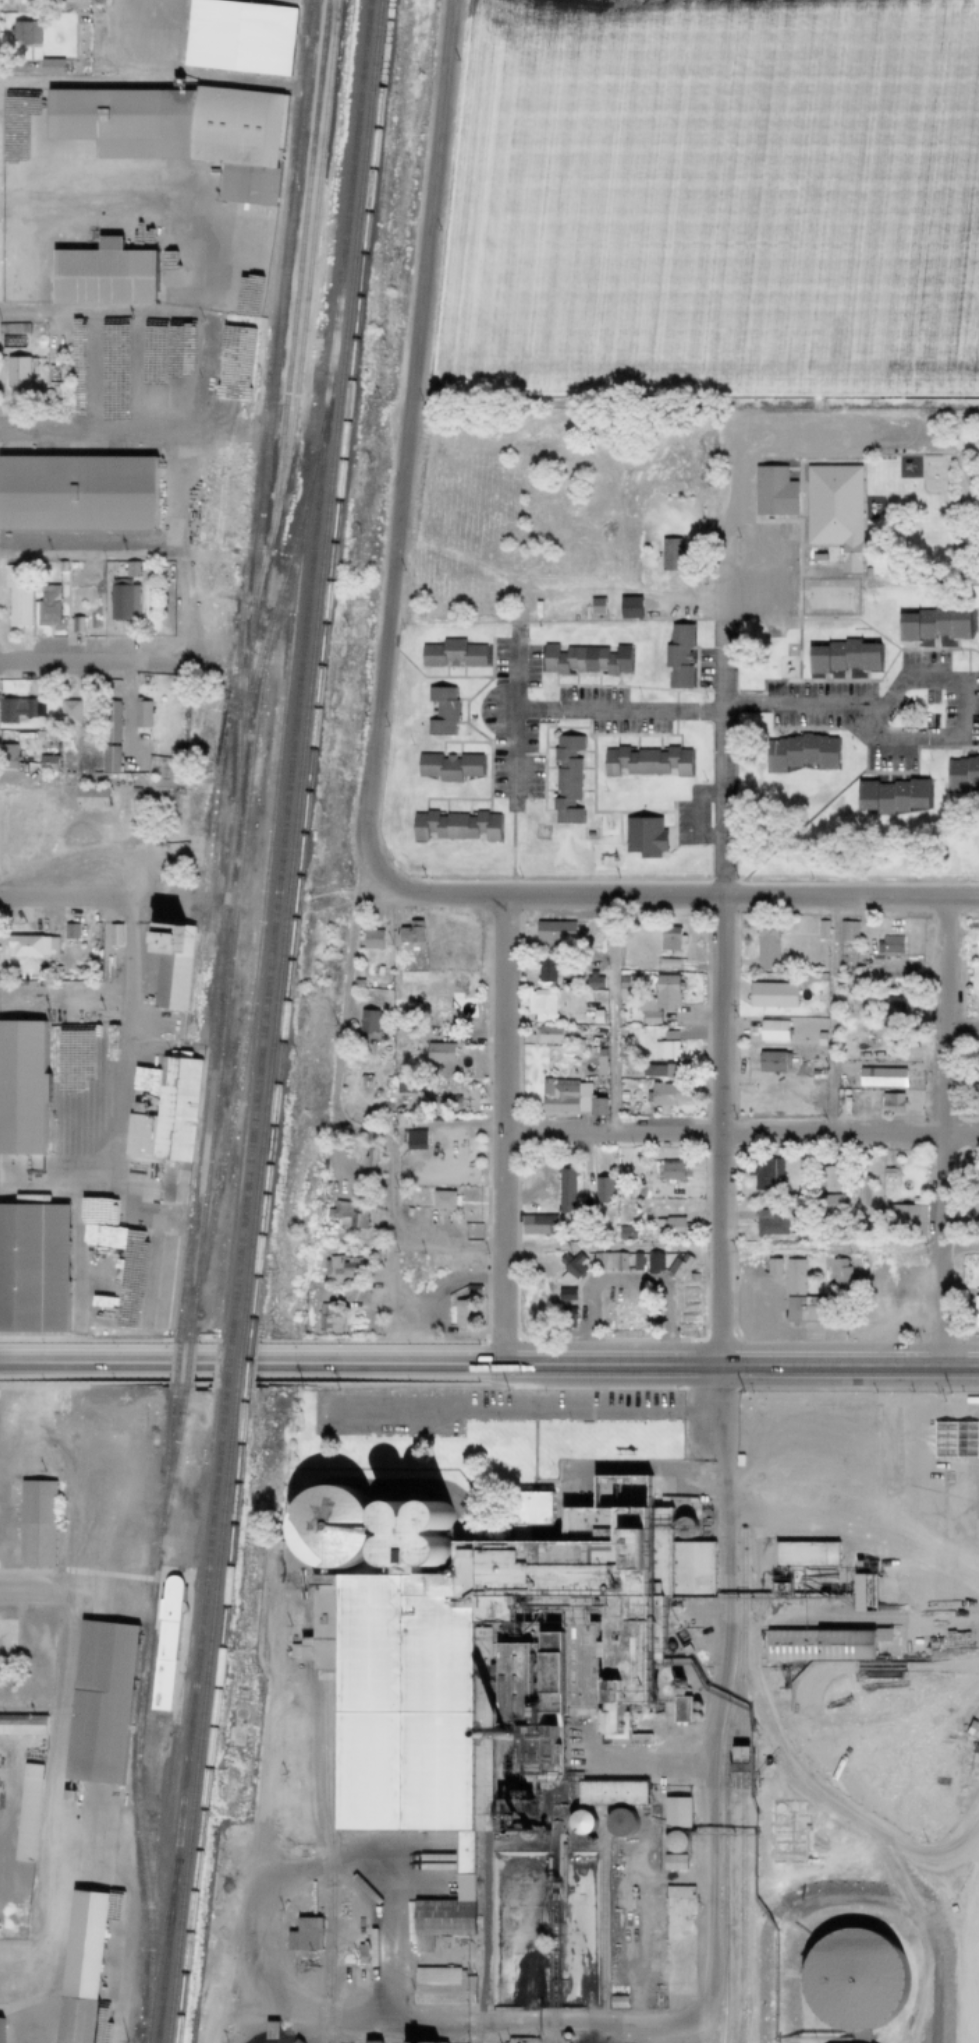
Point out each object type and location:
building: (22, 5)
building: (25, 33)
building: (241, 35)
building: (51, 66)
road: (223, 82)
road: (121, 85)
building: (181, 131)
road: (14, 144)
crop: (713, 197)
road: (59, 204)
road: (194, 211)
road: (25, 259)
road: (214, 265)
railway: (309, 265)
building: (103, 275)
railway: (283, 306)
road: (105, 315)
building: (14, 328)
building: (239, 358)
building: (18, 372)
road: (80, 372)
road: (203, 374)
railway: (264, 388)
road: (407, 427)
road: (95, 430)
parking lot: (816, 434)
road: (751, 435)
road: (951, 451)
building: (721, 473)
road: (165, 486)
building: (771, 492)
building: (75, 494)
building: (219, 505)
building: (833, 512)
road: (90, 543)
building: (668, 556)
building: (816, 558)
building: (59, 566)
building: (73, 566)
building: (129, 568)
parking lot: (772, 575)
building: (16, 594)
building: (121, 599)
railway: (276, 603)
road: (178, 604)
building: (45, 606)
building: (74, 624)
building: (930, 626)
building: (450, 654)
building: (676, 655)
building: (840, 656)
road: (81, 659)
building: (583, 660)
road: (513, 667)
parking lot: (713, 669)
railway: (248, 672)
railway: (299, 673)
railway: (310, 673)
railway: (321, 673)
parking lot: (944, 694)
building: (14, 709)
road: (616, 710)
building: (440, 711)
building: (140, 714)
building: (67, 715)
parking lot: (840, 720)
building: (106, 721)
parking lot: (628, 723)
road: (918, 738)
building: (798, 753)
building: (7, 756)
building: (108, 759)
road: (512, 760)
building: (644, 761)
building: (45, 764)
building: (447, 767)
building: (961, 774)
road: (120, 775)
building: (565, 779)
building: (890, 795)
building: (88, 796)
parking lot: (703, 816)
building: (453, 825)
building: (642, 837)
railway: (211, 840)
railway: (268, 847)
road: (509, 851)
road: (666, 896)
road: (97, 899)
building: (68, 930)
building: (821, 930)
building: (846, 930)
building: (408, 932)
building: (552, 932)
building: (112, 934)
building: (667, 938)
building: (370, 939)
building: (977, 943)
building: (887, 944)
building: (28, 945)
building: (764, 947)
railway: (230, 960)
building: (169, 962)
building: (398, 968)
building: (857, 969)
building: (50, 970)
building: (547, 970)
building: (591, 979)
road: (718, 982)
building: (24, 993)
building: (773, 995)
building: (9, 996)
building: (658, 998)
building: (978, 1000)
building: (541, 1002)
building: (891, 1006)
road: (87, 1016)
road: (612, 1016)
road: (831, 1017)
building: (365, 1021)
building: (598, 1024)
building: (793, 1026)
building: (766, 1029)
building: (547, 1034)
building: (819, 1037)
building: (664, 1049)
building: (437, 1052)
building: (771, 1061)
building: (598, 1062)
building: (660, 1070)
building: (816, 1077)
building: (880, 1077)
building: (361, 1081)
building: (402, 1084)
building: (20, 1087)
building: (836, 1092)
building: (843, 1092)
building: (667, 1095)
road: (116, 1096)
building: (567, 1098)
road: (63, 1102)
building: (889, 1102)
building: (447, 1103)
building: (165, 1115)
road: (334, 1115)
road: (499, 1129)
road: (937, 1132)
road: (739, 1136)
building: (410, 1139)
road: (297, 1148)
building: (368, 1158)
building: (972, 1171)
building: (670, 1172)
building: (764, 1174)
building: (651, 1184)
building: (827, 1188)
building: (600, 1189)
building: (564, 1190)
building: (862, 1190)
road: (143, 1193)
building: (622, 1196)
building: (441, 1200)
building: (620, 1203)
building: (346, 1216)
building: (900, 1220)
building: (536, 1224)
building: (771, 1224)
building: (668, 1227)
building: (624, 1233)
building: (797, 1235)
road: (738, 1248)
road: (74, 1261)
building: (594, 1261)
building: (614, 1261)
building: (452, 1262)
building: (632, 1262)
building: (651, 1262)
building: (680, 1265)
building: (32, 1266)
building: (771, 1267)
building: (567, 1268)
building: (338, 1271)
road: (384, 1273)
building: (838, 1273)
building: (141, 1276)
building: (791, 1277)
road: (626, 1280)
road: (457, 1281)
building: (688, 1285)
building: (470, 1292)
building: (564, 1298)
building: (800, 1308)
building: (975, 1309)
building: (465, 1313)
building: (564, 1317)
building: (689, 1317)
building: (327, 1319)
road: (235, 1365)
railway: (227, 1367)
railway: (236, 1367)
railway: (247, 1367)
railway: (175, 1368)
railway: (186, 1368)
road: (724, 1368)
parking lot: (478, 1406)
road: (519, 1410)
road: (63, 1414)
railway: (175, 1450)
building: (739, 1459)
road: (72, 1475)
building: (532, 1508)
building: (418, 1513)
storage tank: (418, 1513)
building: (383, 1514)
storage tank: (383, 1514)
building: (34, 1523)
building: (326, 1525)
storage tank: (326, 1525)
building: (685, 1527)
storage tank: (685, 1527)
road: (854, 1531)
building: (419, 1547)
storage tank: (419, 1547)
building: (384, 1548)
storage tank: (384, 1548)
building: (805, 1553)
building: (780, 1586)
building: (865, 1592)
road: (35, 1593)
road: (107, 1594)
road: (821, 1618)
road: (20, 1641)
building: (164, 1642)
building: (669, 1644)
storage tank: (669, 1644)
building: (834, 1644)
building: (685, 1649)
building: (490, 1665)
building: (880, 1666)
road: (880, 1666)
road: (942, 1666)
building: (659, 1673)
storage tank: (659, 1673)
building: (858, 1676)
building: (677, 1683)
storage tank: (677, 1683)
road: (695, 1684)
road: (757, 1700)
building: (97, 1702)
railway: (743, 1702)
building: (695, 1705)
storage tank: (695, 1705)
road: (29, 1707)
building: (680, 1707)
road: (310, 1711)
railway: (191, 1715)
railway: (201, 1715)
railway: (214, 1715)
building: (695, 1715)
storage tank: (695, 1715)
railway: (139, 1716)
building: (21, 1725)
building: (971, 1727)
road: (678, 1732)
road: (624, 1764)
building: (739, 1766)
railway: (743, 1766)
railway: (323, 1769)
building: (796, 1783)
road: (855, 1783)
railway: (725, 1784)
road: (5, 1788)
building: (611, 1791)
building: (64, 1796)
building: (676, 1812)
road: (46, 1818)
building: (618, 1821)
storage tank: (618, 1821)
building: (579, 1822)
storage tank: (579, 1822)
road: (966, 1823)
road: (0, 1827)
railway: (160, 1827)
building: (23, 1834)
building: (674, 1842)
storage tank: (674, 1842)
railway: (333, 1857)
building: (674, 1862)
road: (670, 1878)
building: (676, 1891)
road: (129, 1900)
road: (632, 1915)
railway: (743, 1915)
road: (915, 1918)
railway: (163, 1929)
railway: (603, 1929)
building: (301, 1933)
railway: (554, 1933)
road: (390, 1937)
railway: (485, 1939)
road: (22, 1944)
building: (359, 1952)
road: (431, 1957)
building: (79, 1967)
building: (850, 1979)
storage tank: (850, 1979)
building: (441, 1985)
building: (618, 2001)
railway: (718, 2005)
building: (0, 2022)
road: (642, 2023)
railway: (743, 2029)
road: (684, 2031)
building: (272, 2035)
building: (567, 2036)
storage tank: (567, 2036)
building: (523, 2040)
building: (371, 2041)
building: (427, 2042)

